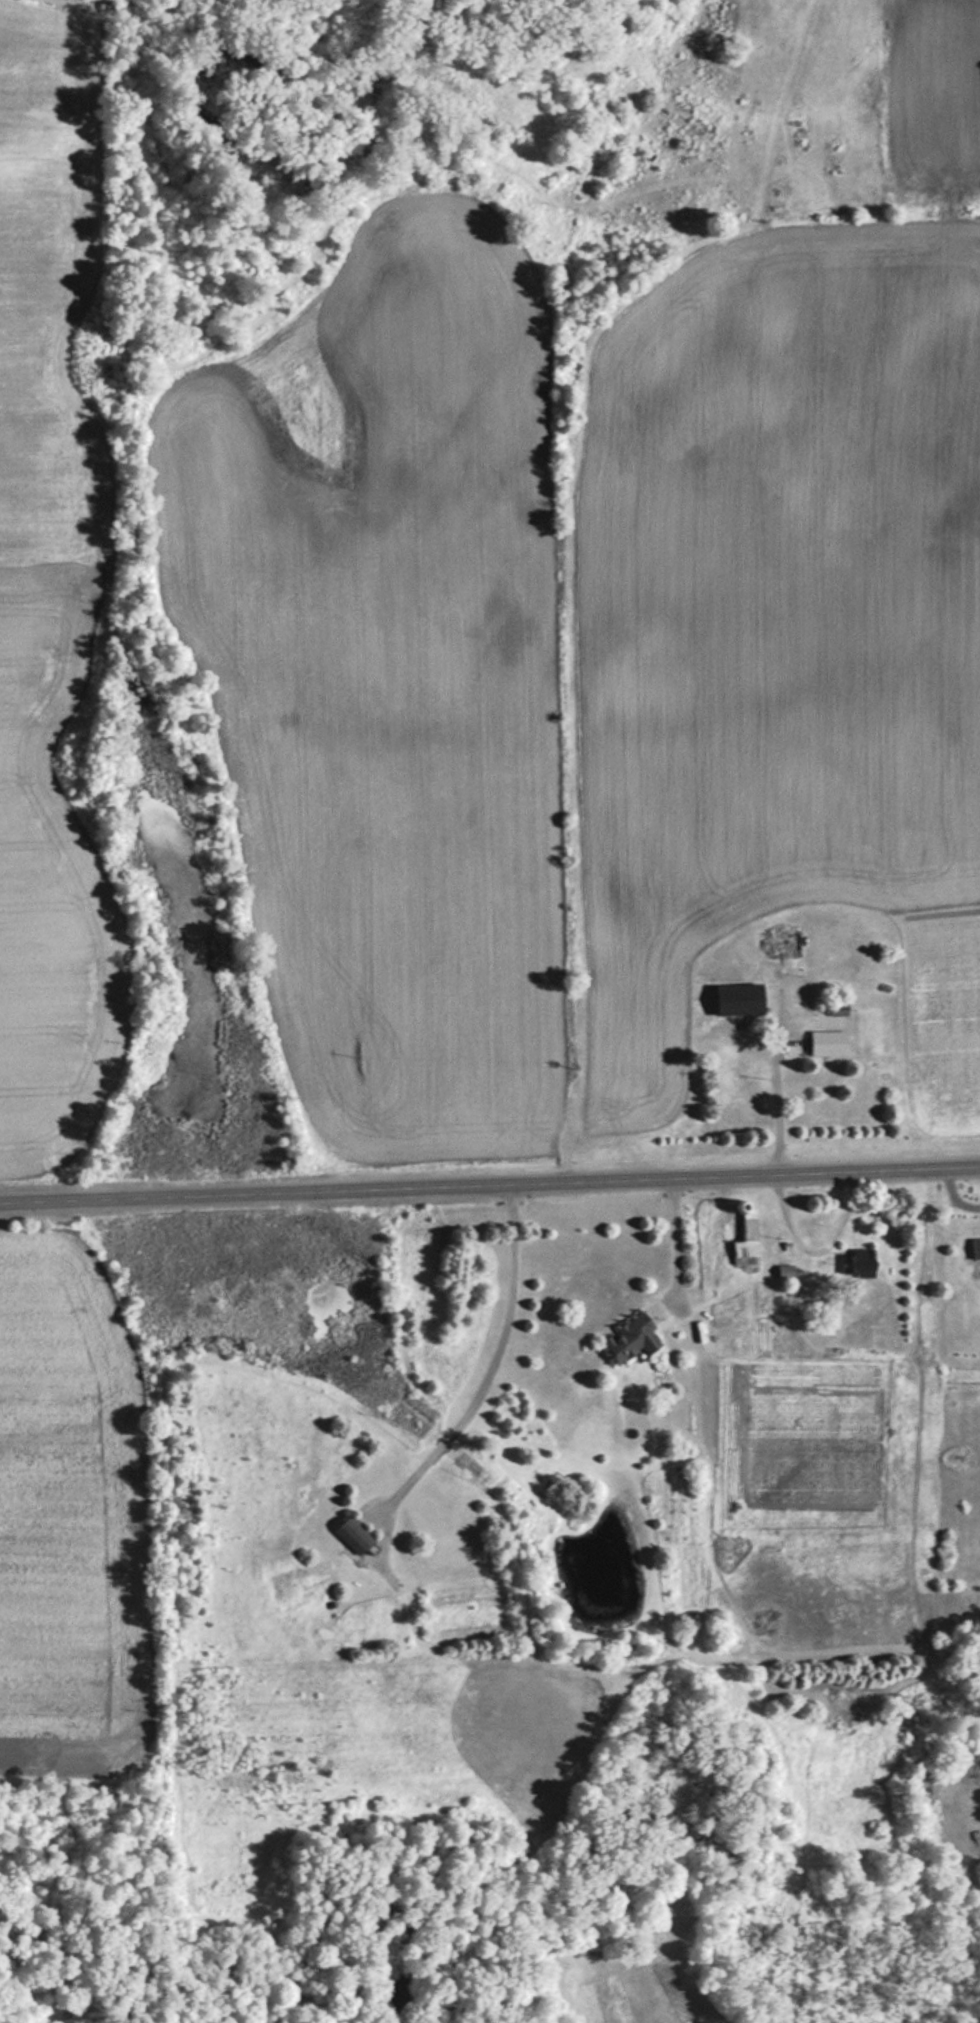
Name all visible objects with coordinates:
building: (782, 942)
building: (737, 997)
building: (826, 1042)
road: (489, 1180)
building: (745, 1238)
building: (975, 1248)
building: (856, 1263)
building: (630, 1337)
building: (352, 1536)

